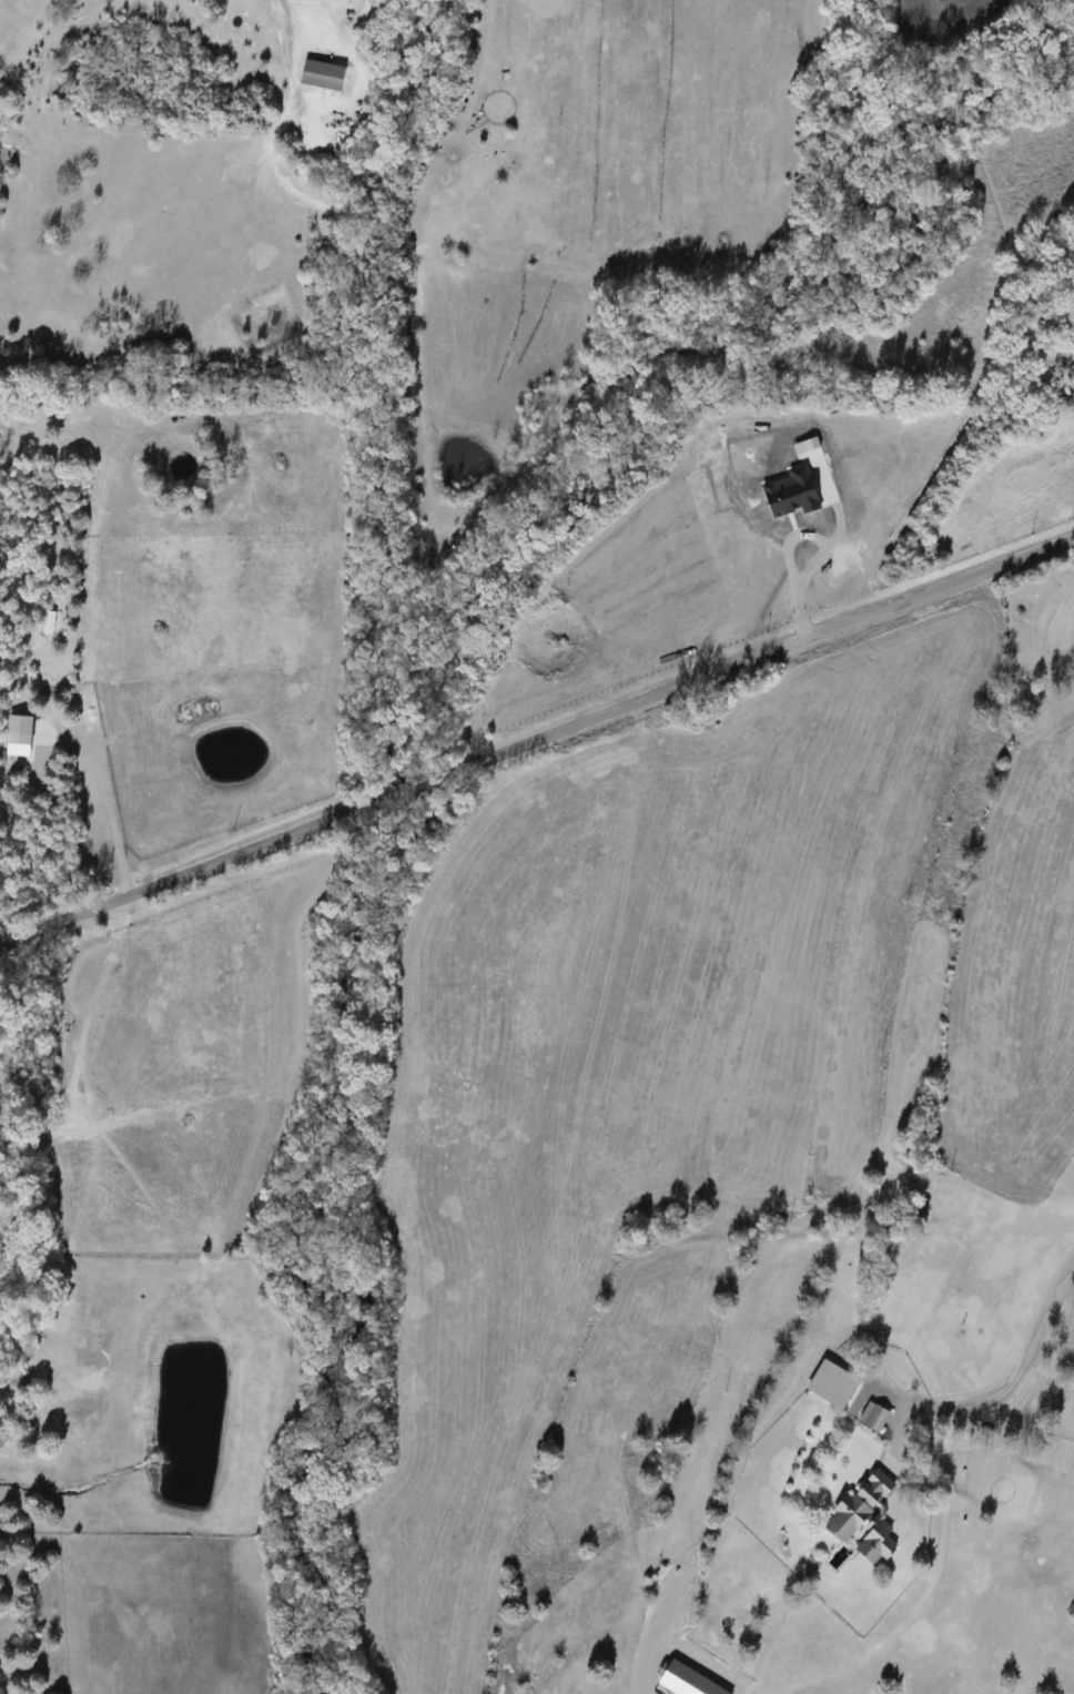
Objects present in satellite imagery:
building: (320, 75)
building: (1068, 366)
road: (536, 737)
road: (109, 794)
building: (936, 1173)
building: (999, 1197)
building: (915, 1206)
road: (1048, 1343)
building: (830, 1383)
road: (1000, 1389)
building: (872, 1417)
road: (889, 1433)
building: (861, 1519)
road: (923, 1599)
road: (677, 1639)
road: (760, 1693)

